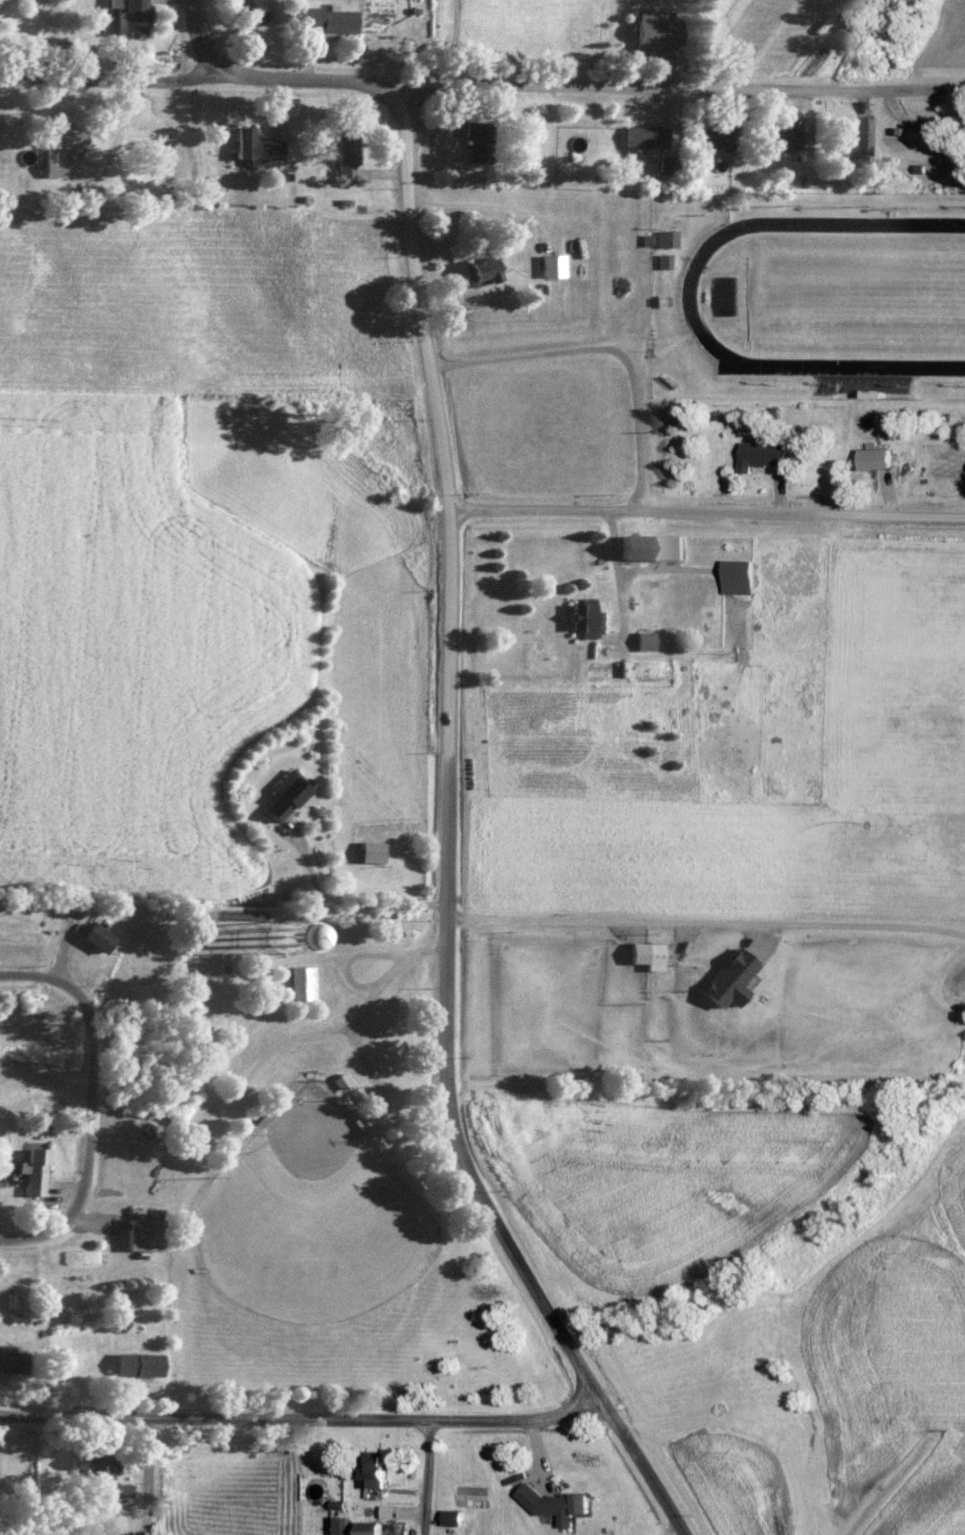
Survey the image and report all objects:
building: (255, 11)
building: (136, 18)
building: (330, 20)
building: (661, 30)
road: (196, 40)
road: (482, 81)
building: (647, 136)
building: (861, 136)
building: (574, 138)
building: (715, 139)
building: (788, 141)
building: (259, 145)
building: (61, 146)
building: (349, 155)
road: (483, 204)
building: (668, 238)
building: (553, 265)
building: (484, 271)
track: (688, 299)
road: (610, 345)
building: (878, 385)
building: (765, 456)
building: (879, 460)
road: (705, 516)
building: (654, 547)
building: (740, 578)
building: (589, 617)
building: (647, 641)
building: (287, 795)
road: (445, 836)
building: (373, 850)
building: (98, 937)
building: (655, 956)
building: (340, 1082)
road: (85, 1096)
park: (321, 1170)
building: (35, 1171)
park: (307, 1215)
building: (146, 1234)
building: (13, 1360)
building: (140, 1364)
road: (297, 1408)
building: (98, 1460)
building: (379, 1469)
road: (144, 1471)
road: (425, 1471)
building: (560, 1504)
building: (455, 1517)
building: (337, 1525)
building: (376, 1527)

